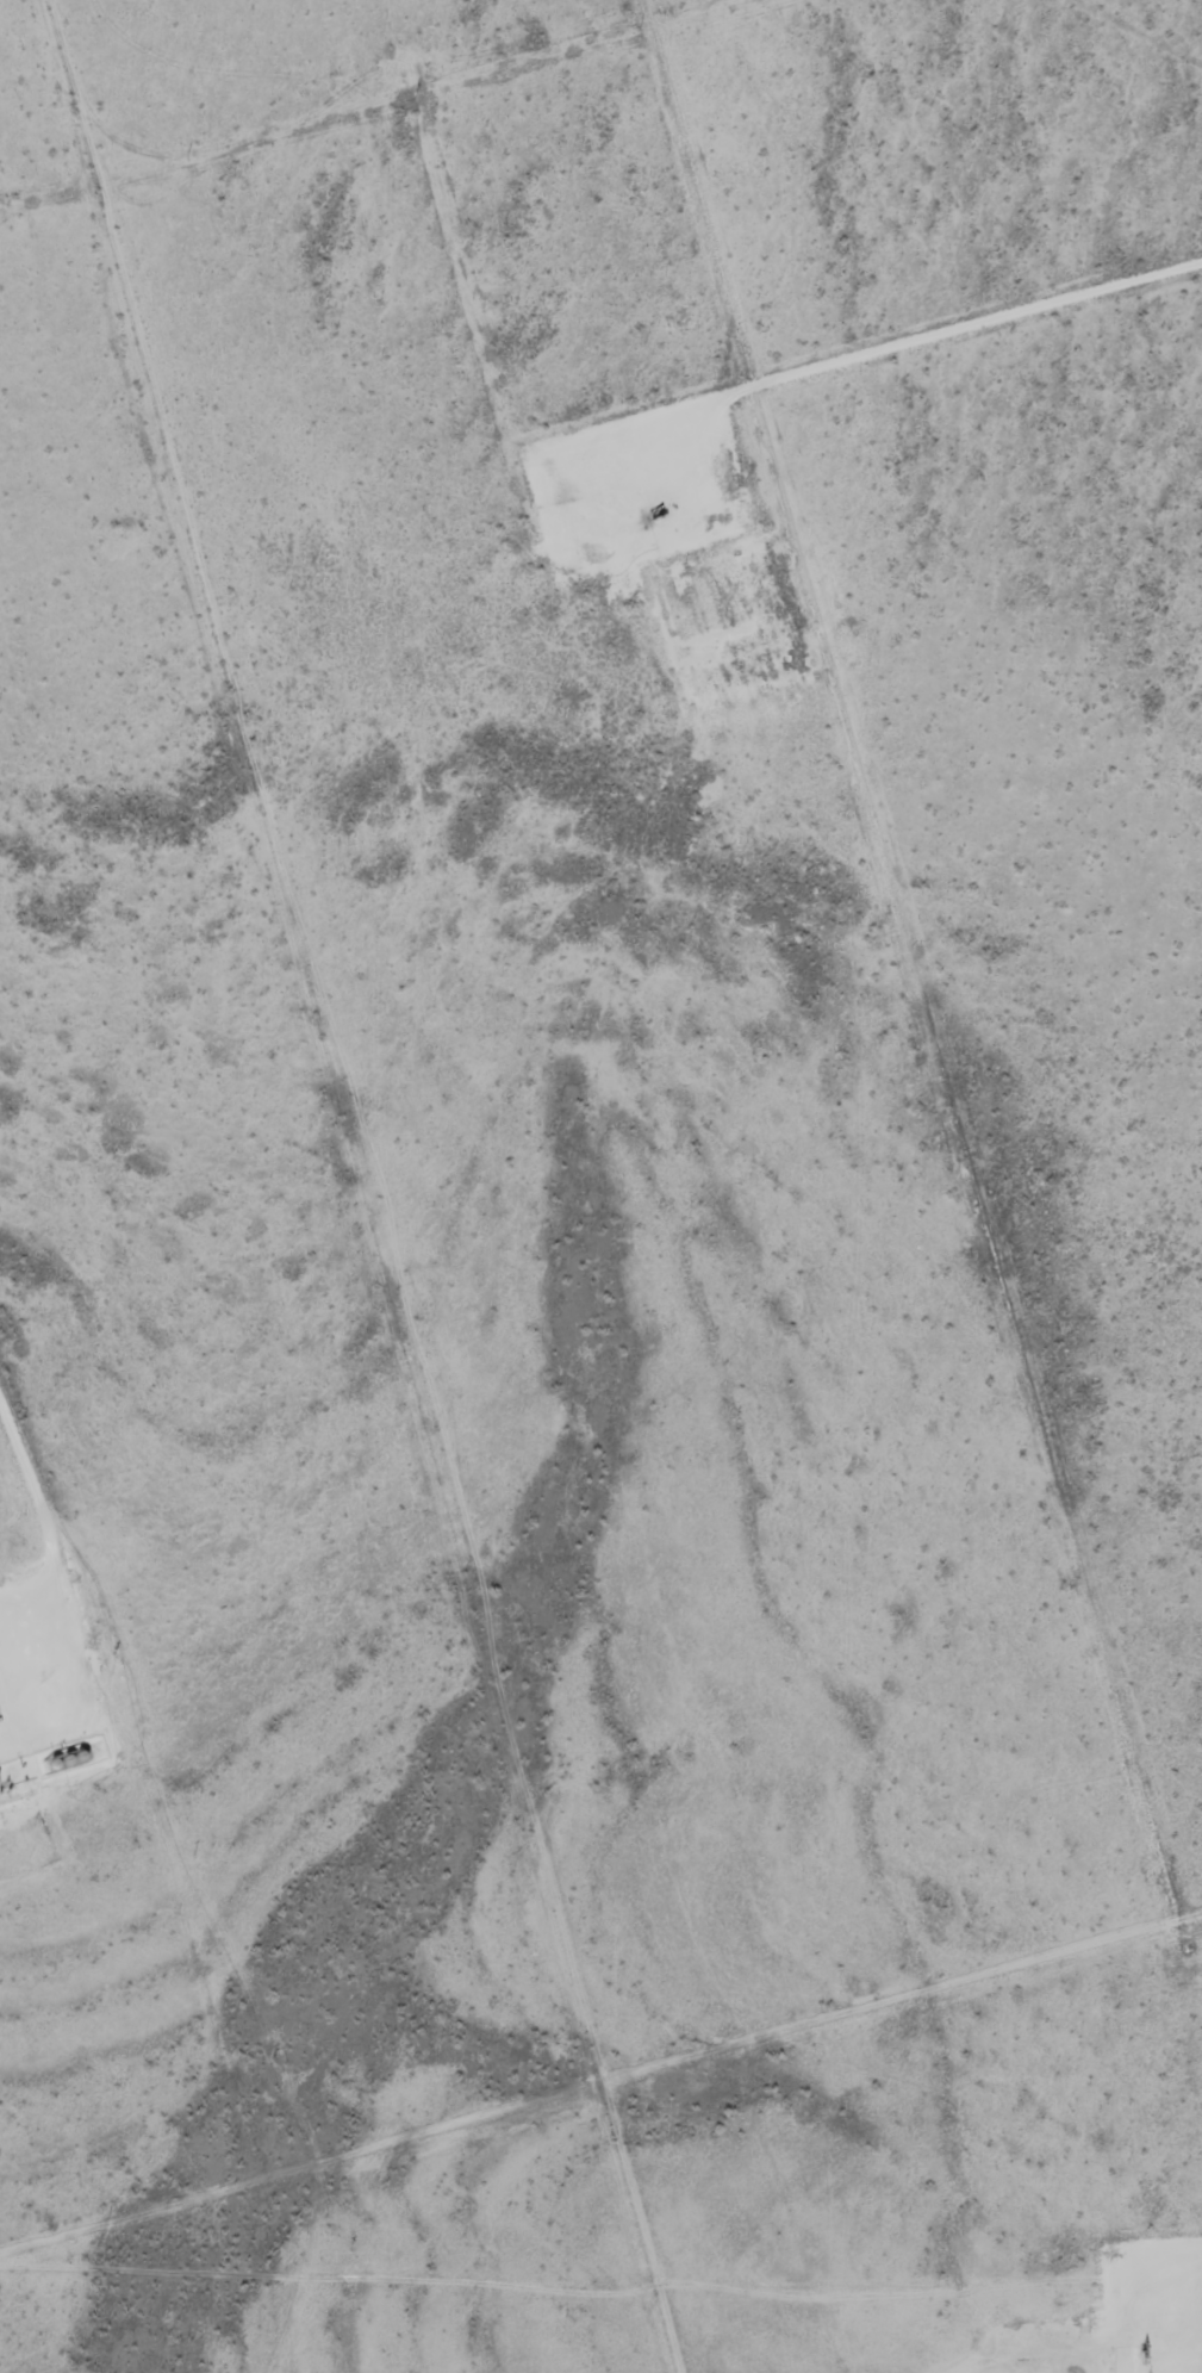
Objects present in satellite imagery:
road: (46, 1526)

